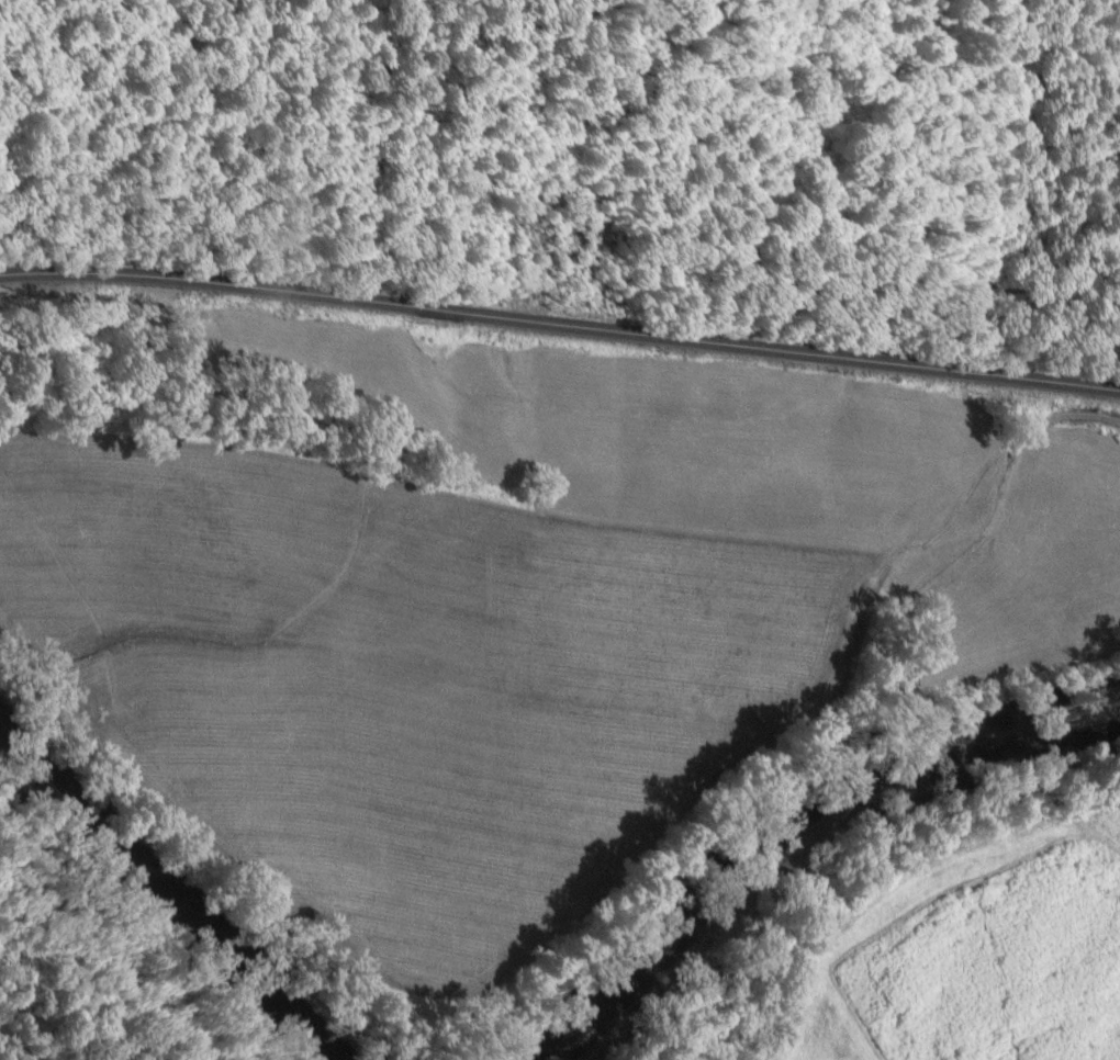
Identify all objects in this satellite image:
road: (560, 323)
river: (798, 823)
river: (163, 899)

